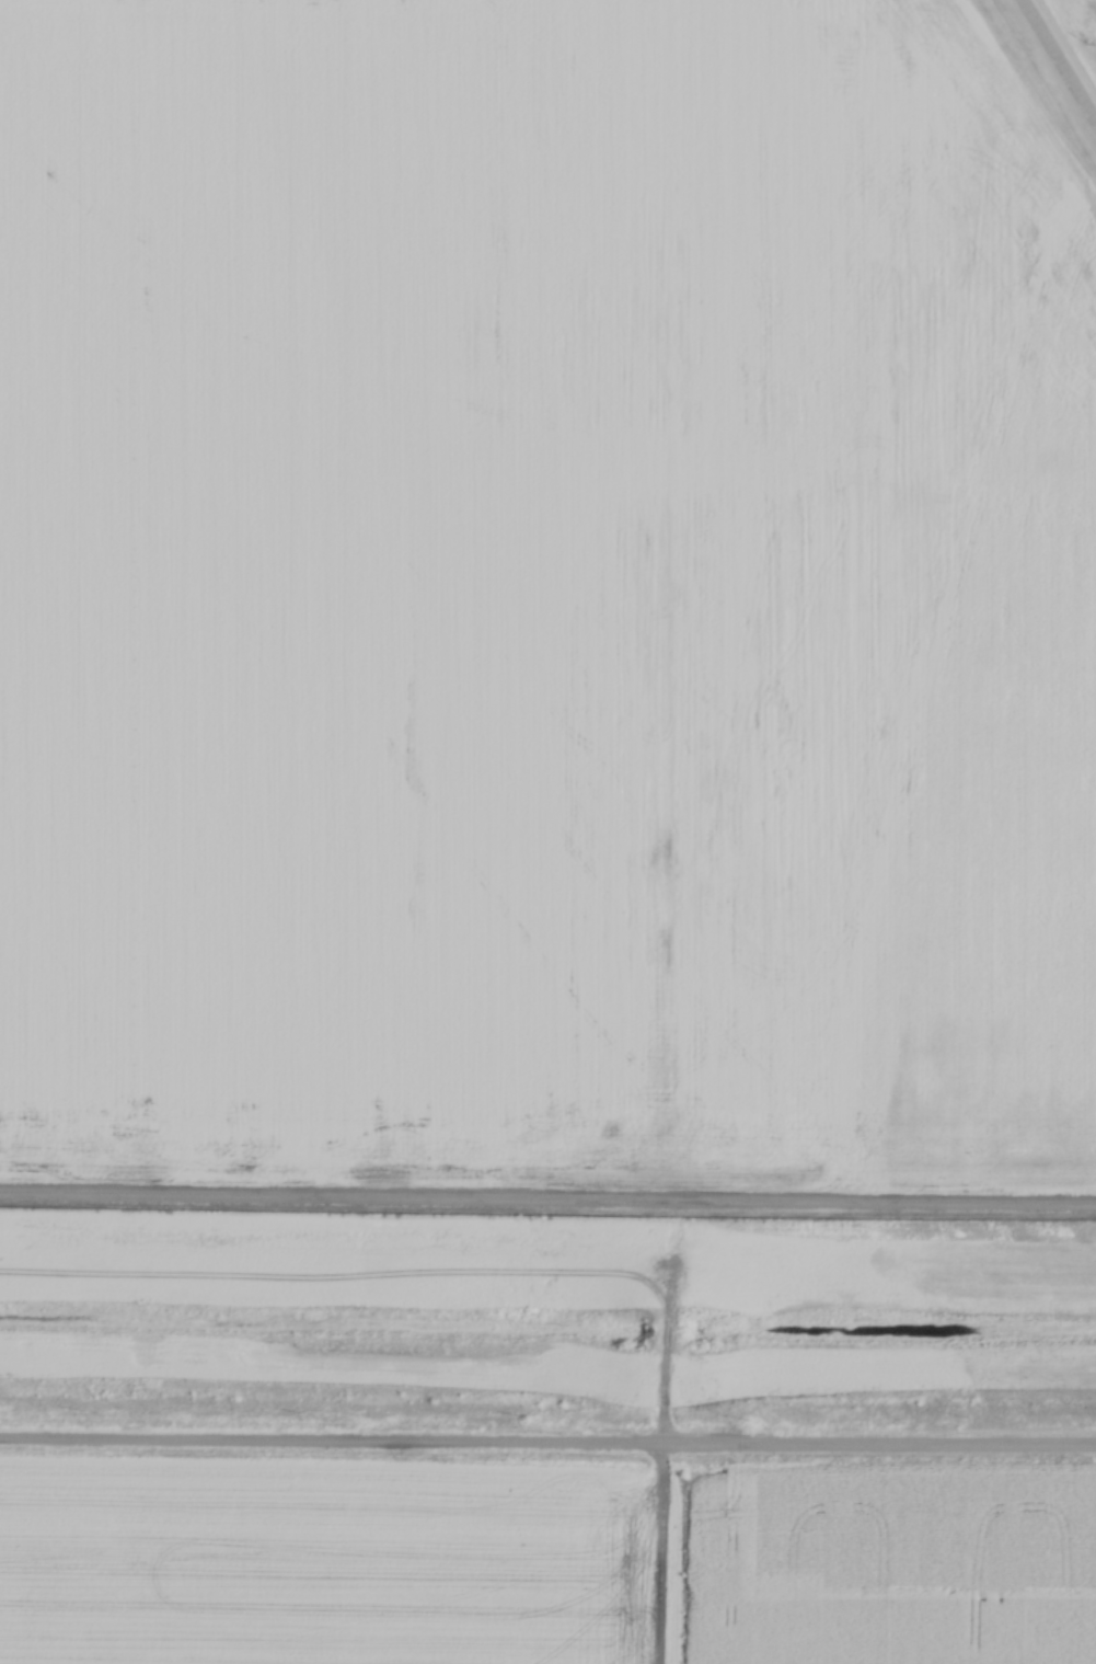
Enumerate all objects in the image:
road: (1060, 59)
road: (547, 1202)
road: (547, 1443)

